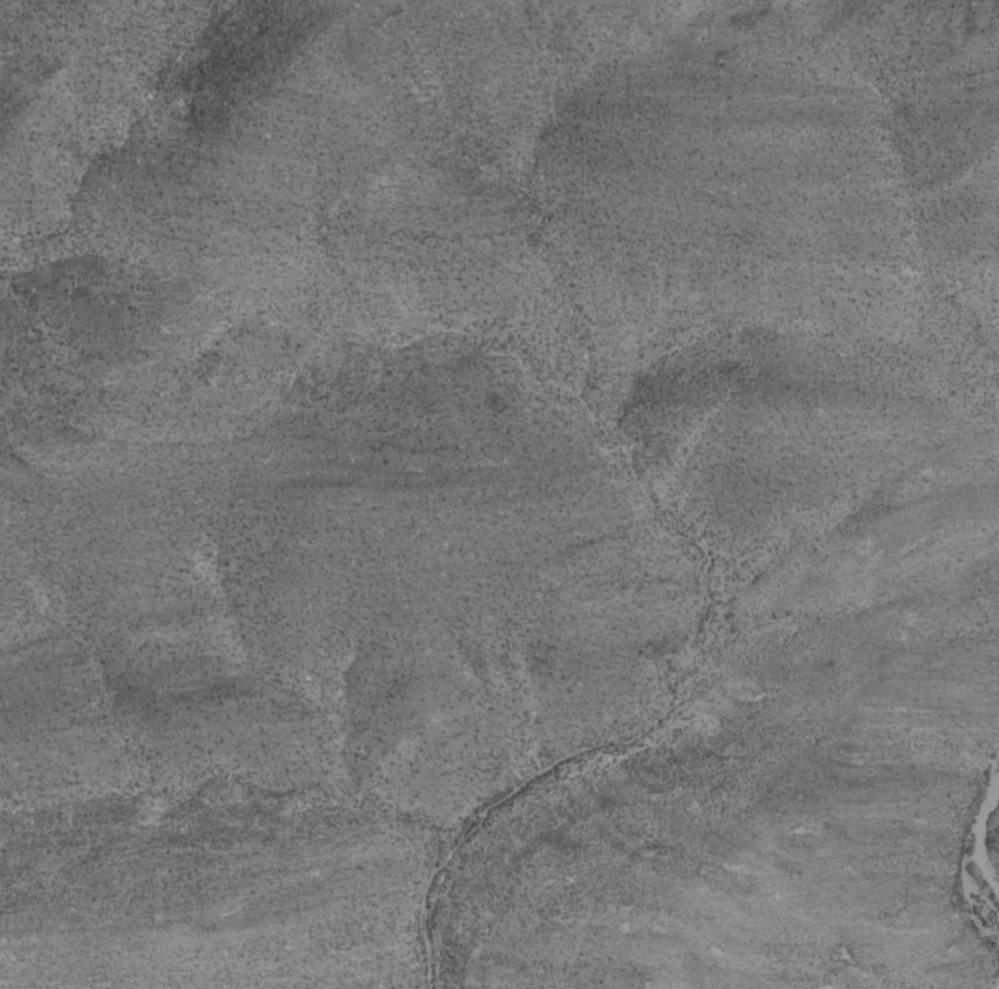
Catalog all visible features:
road: (984, 849)
road: (998, 988)

